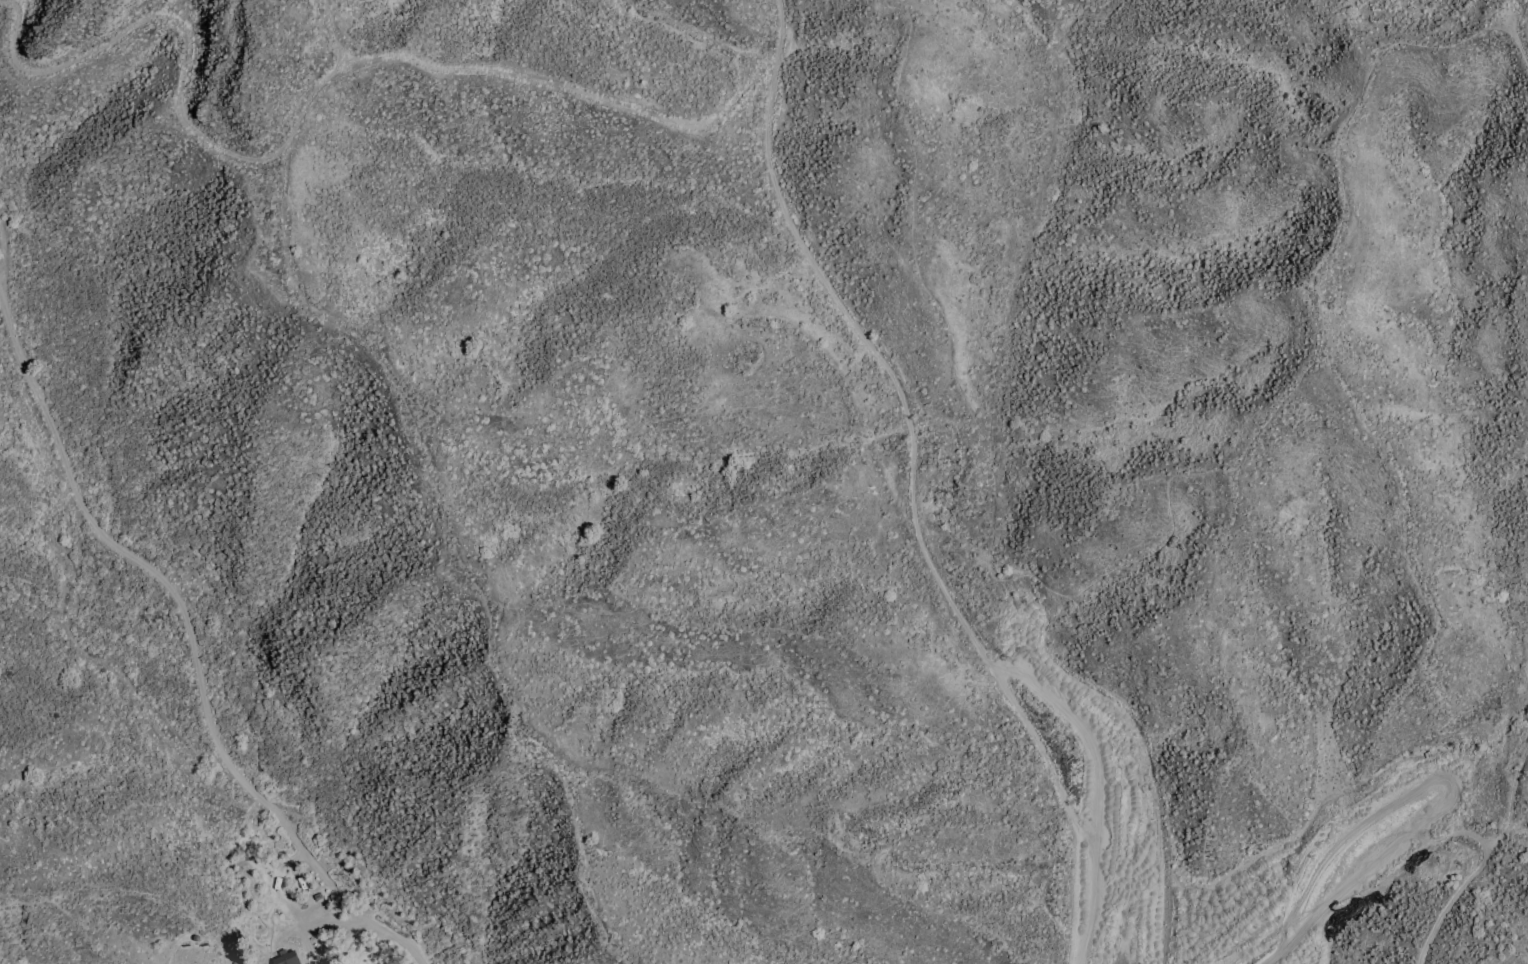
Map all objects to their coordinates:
road: (912, 484)
road: (192, 646)
road: (1440, 776)
building: (197, 936)
road: (1275, 954)
building: (287, 957)
building: (236, 962)

